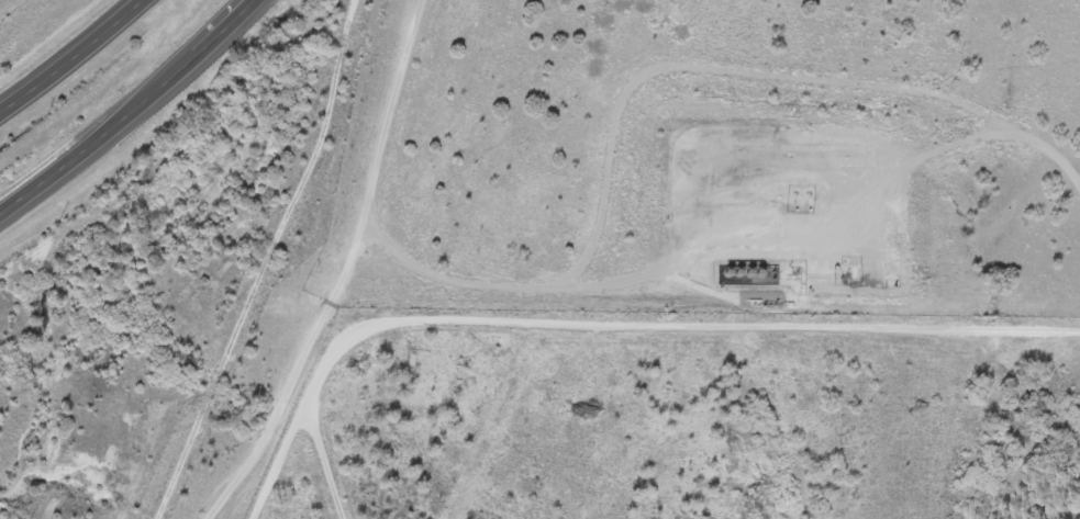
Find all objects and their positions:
road: (67, 53)
road: (133, 112)
road: (344, 273)
road: (612, 321)

